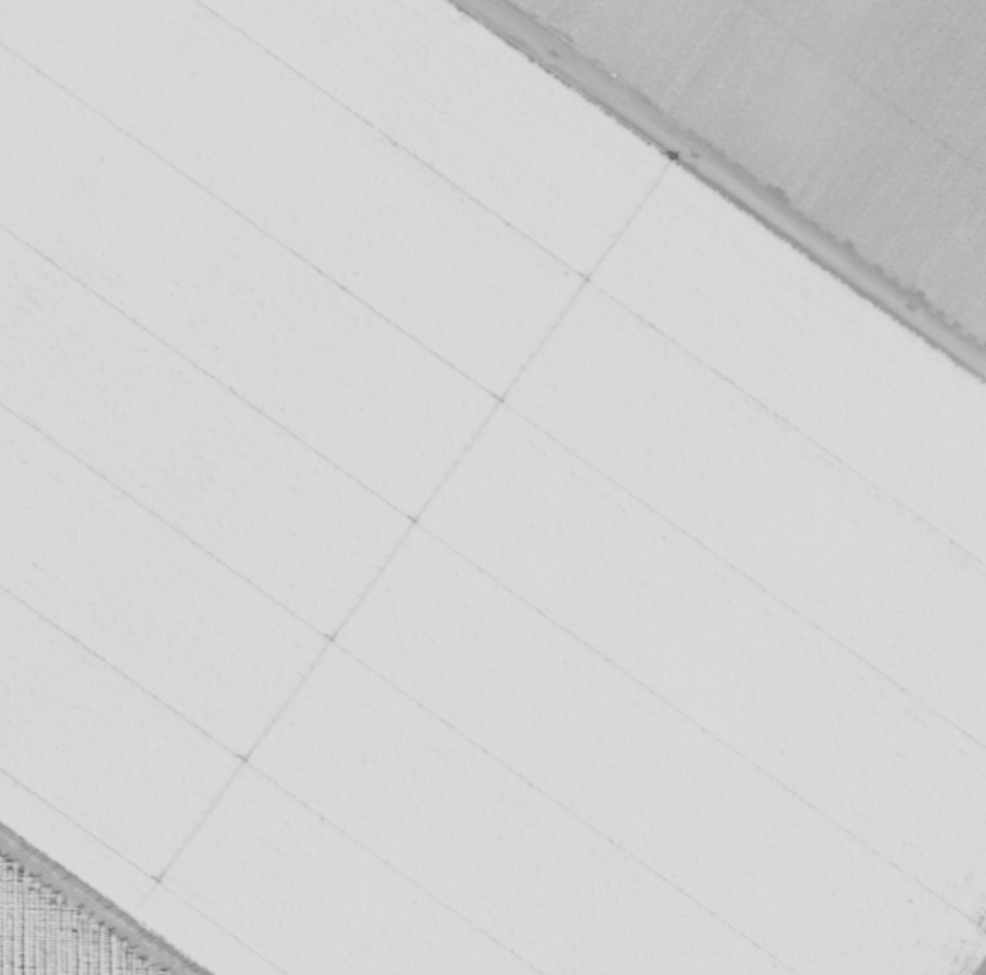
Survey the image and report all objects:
crop: (492, 490)

